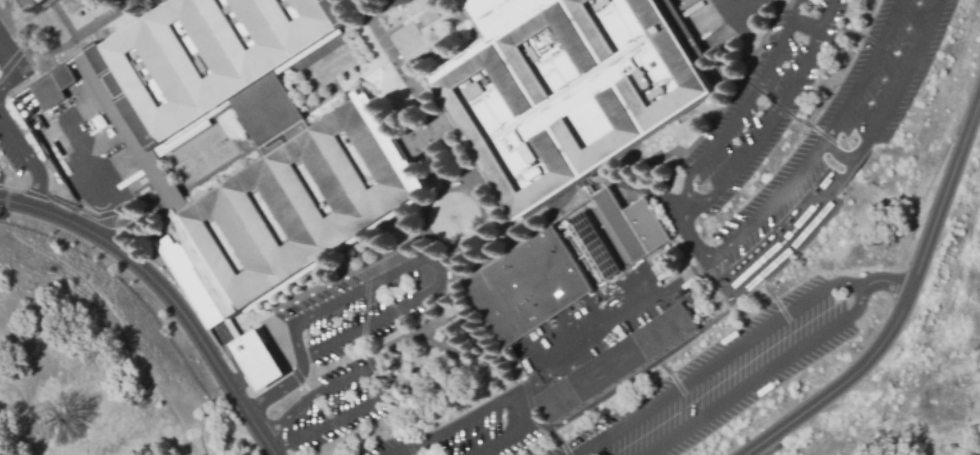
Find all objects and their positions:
road: (791, 2)
road: (795, 3)
road: (784, 4)
building: (35, 5)
road: (385, 8)
road: (444, 19)
road: (845, 28)
road: (11, 30)
road: (422, 33)
road: (82, 34)
road: (759, 40)
road: (326, 47)
road: (11, 60)
road: (9, 65)
road: (344, 81)
building: (51, 87)
building: (567, 88)
road: (740, 109)
road: (788, 112)
road: (772, 118)
road: (711, 119)
building: (258, 138)
road: (108, 147)
park: (203, 155)
road: (457, 155)
road: (26, 159)
road: (482, 176)
road: (609, 181)
road: (95, 183)
road: (15, 188)
road: (6, 194)
road: (37, 194)
road: (63, 205)
road: (498, 212)
road: (681, 212)
road: (96, 219)
road: (75, 224)
building: (629, 226)
road: (473, 239)
building: (592, 246)
road: (427, 263)
road: (643, 265)
road: (880, 284)
building: (526, 286)
road: (755, 287)
road: (450, 288)
road: (728, 288)
road: (900, 300)
road: (283, 304)
road: (629, 315)
road: (445, 337)
road: (364, 348)
road: (252, 358)
road: (209, 359)
building: (257, 359)
building: (618, 362)
road: (712, 365)
road: (641, 372)
road: (759, 375)
road: (236, 379)
road: (302, 379)
road: (678, 388)
road: (278, 389)
road: (493, 404)
road: (531, 407)
road: (561, 441)
road: (900, 454)

